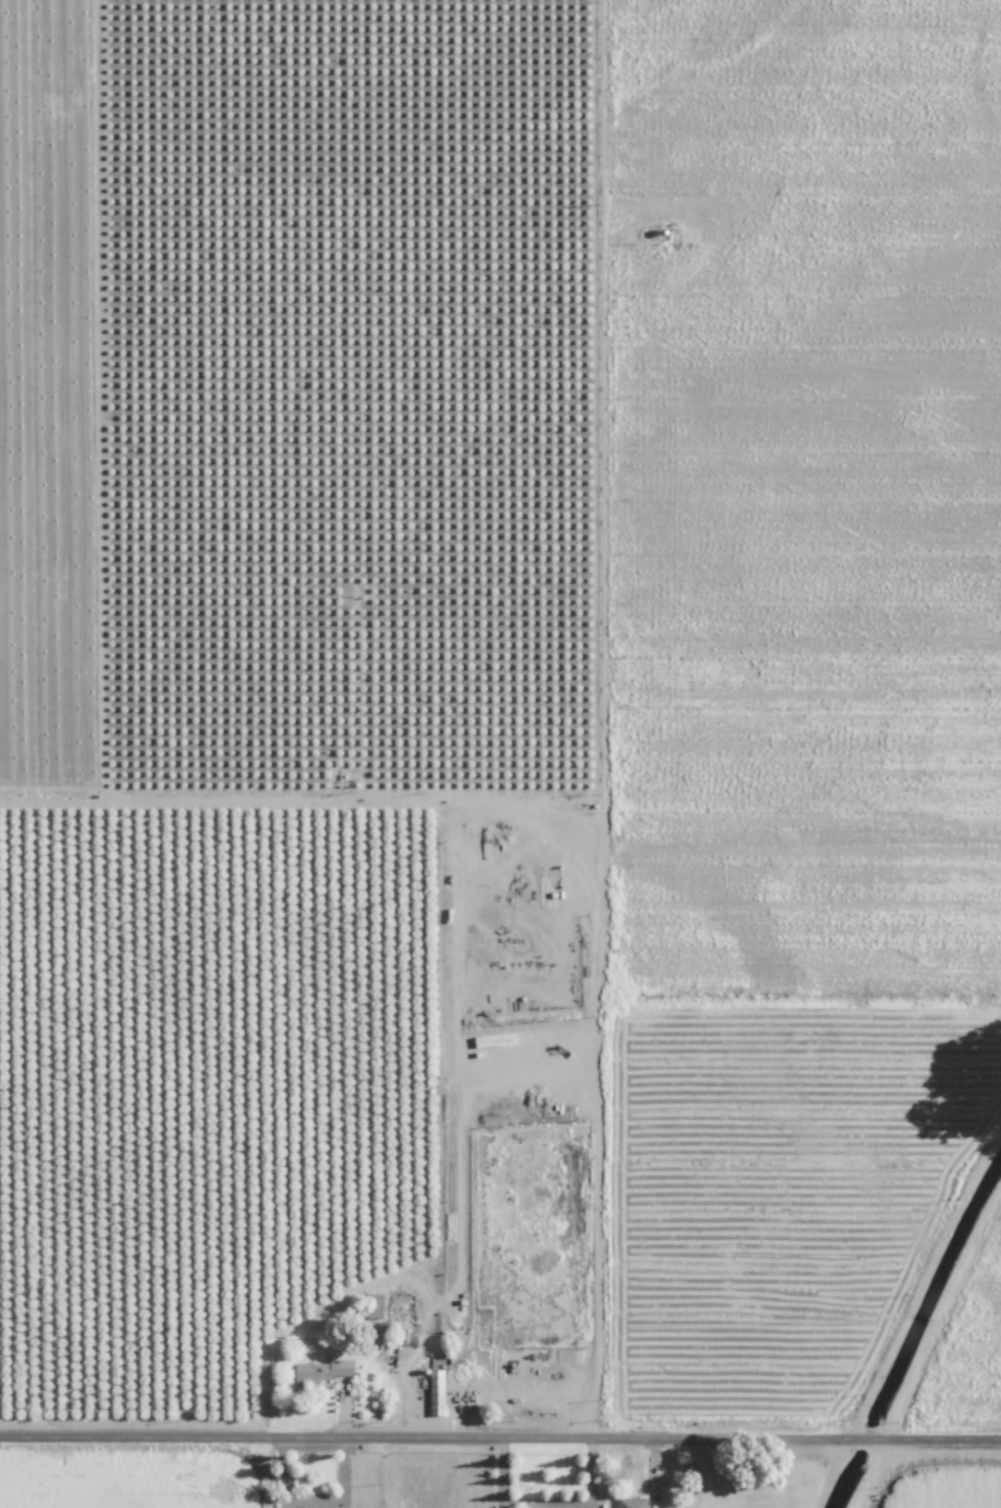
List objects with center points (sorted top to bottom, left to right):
road: (616, 715)
crop: (500, 754)
road: (943, 1311)
building: (322, 1371)
building: (438, 1391)
road: (500, 1430)
road: (591, 1499)
road: (503, 1502)
road: (550, 1503)

